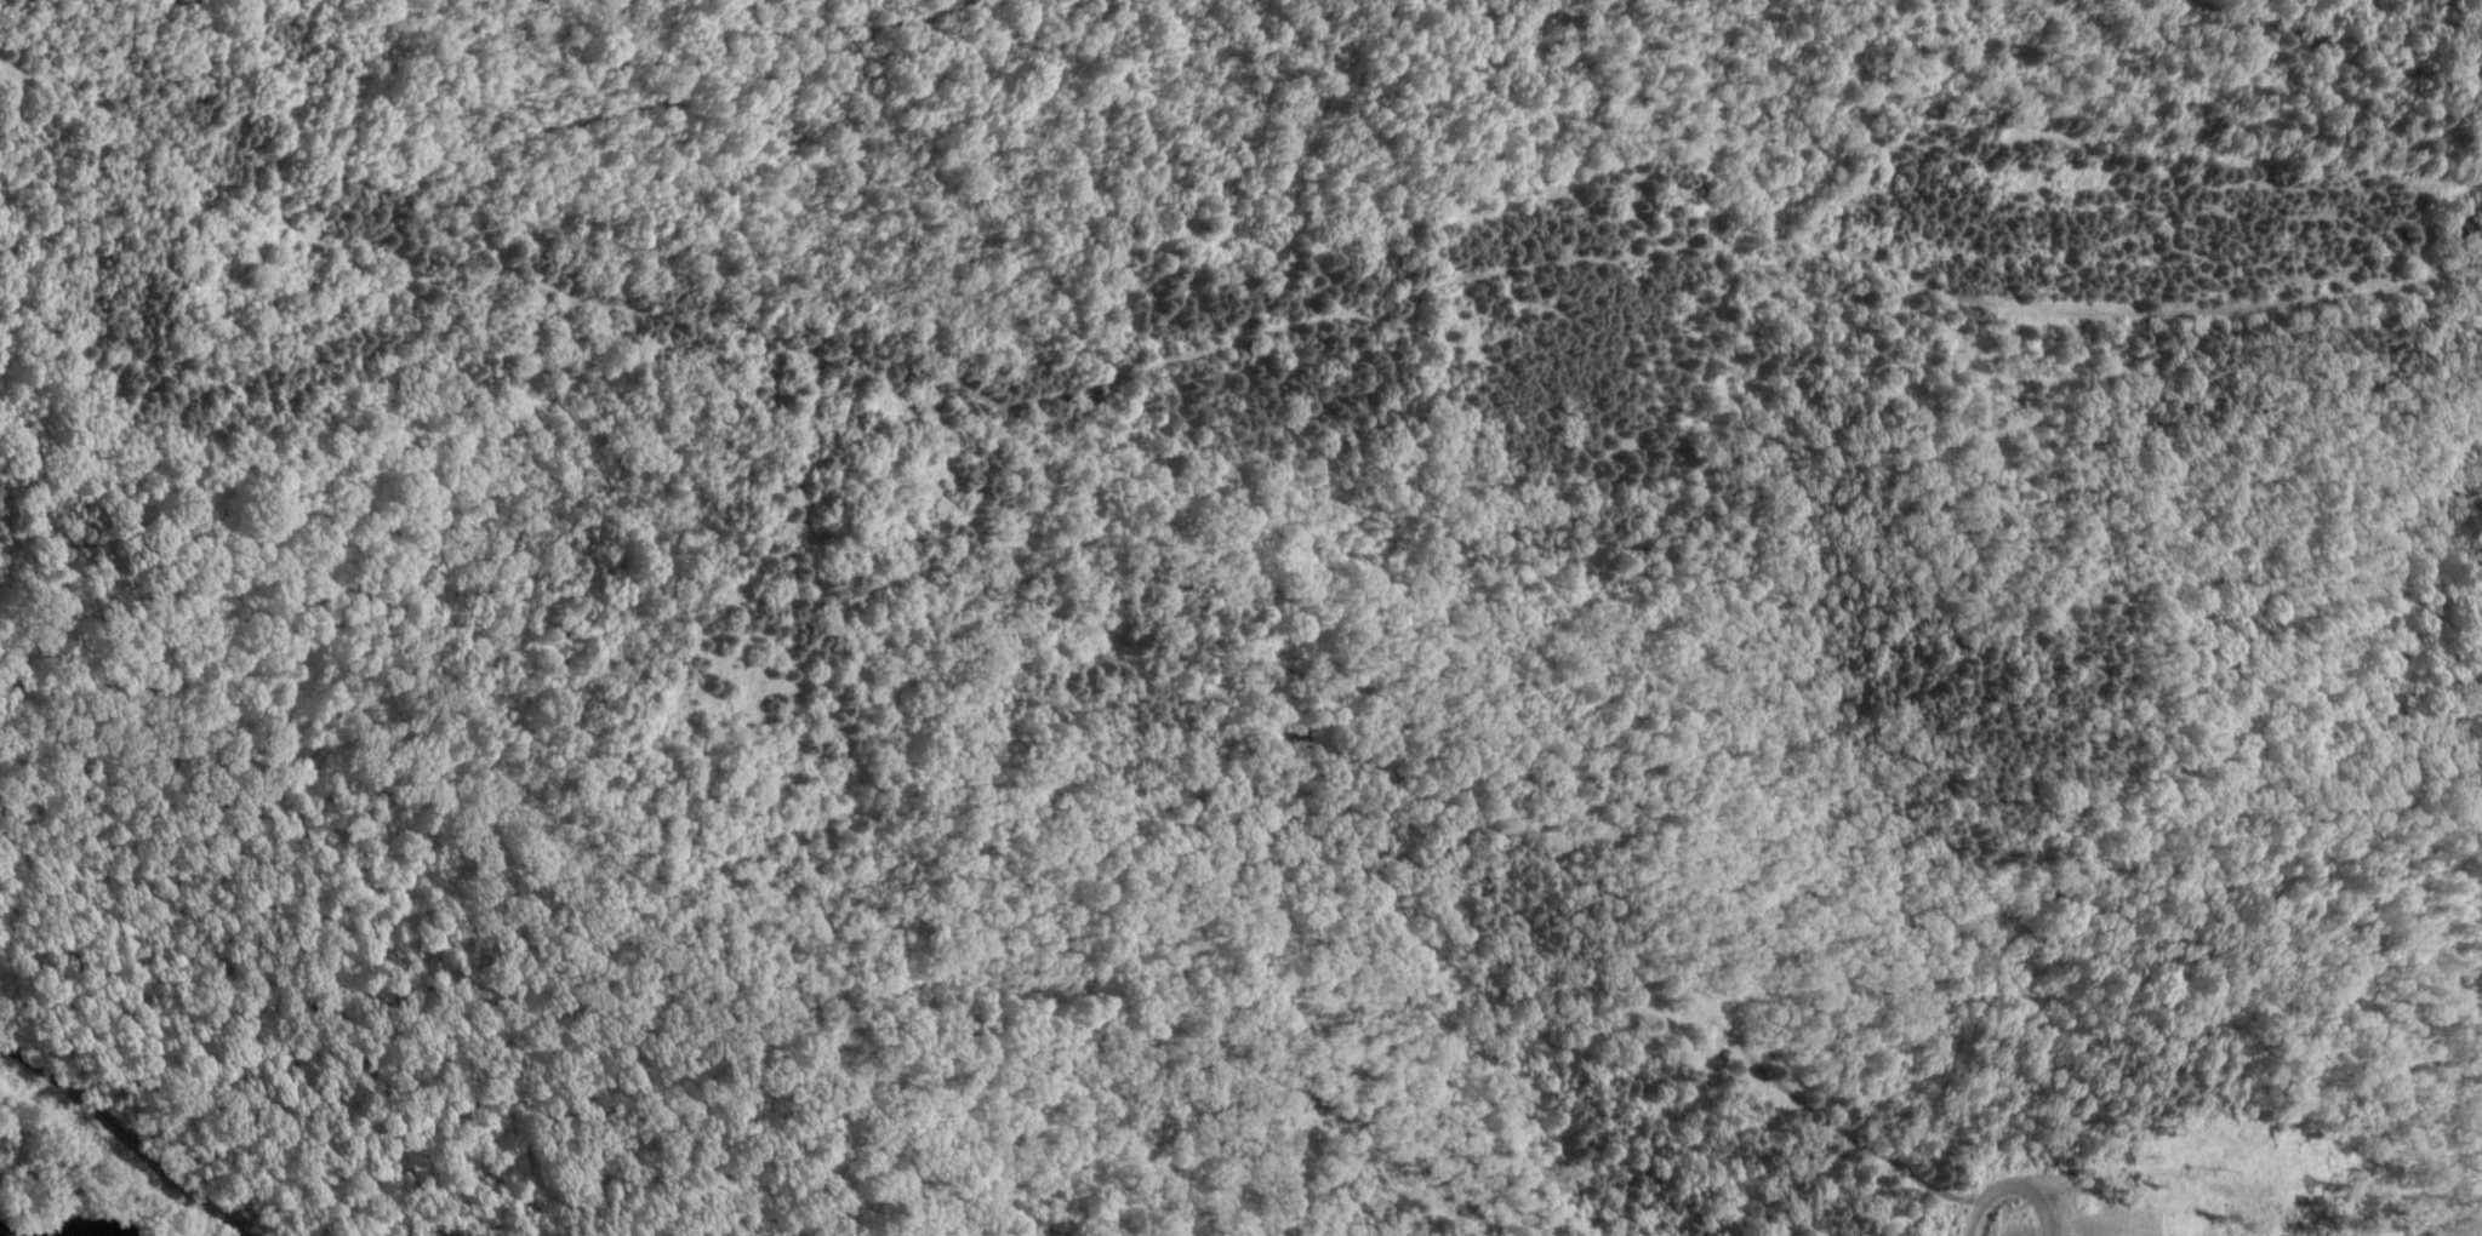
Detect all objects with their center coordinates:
road: (98, 1154)

